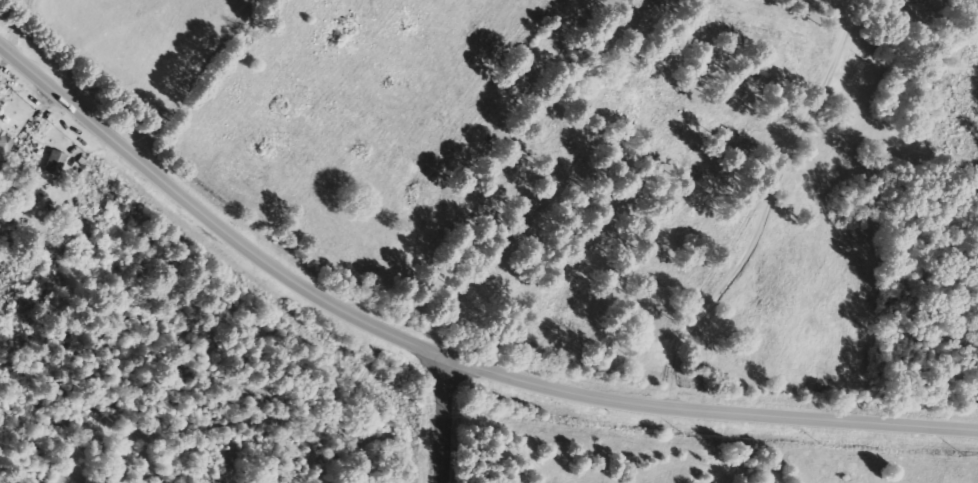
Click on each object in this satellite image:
building: (5, 145)
building: (57, 163)
road: (440, 354)
road: (441, 419)

